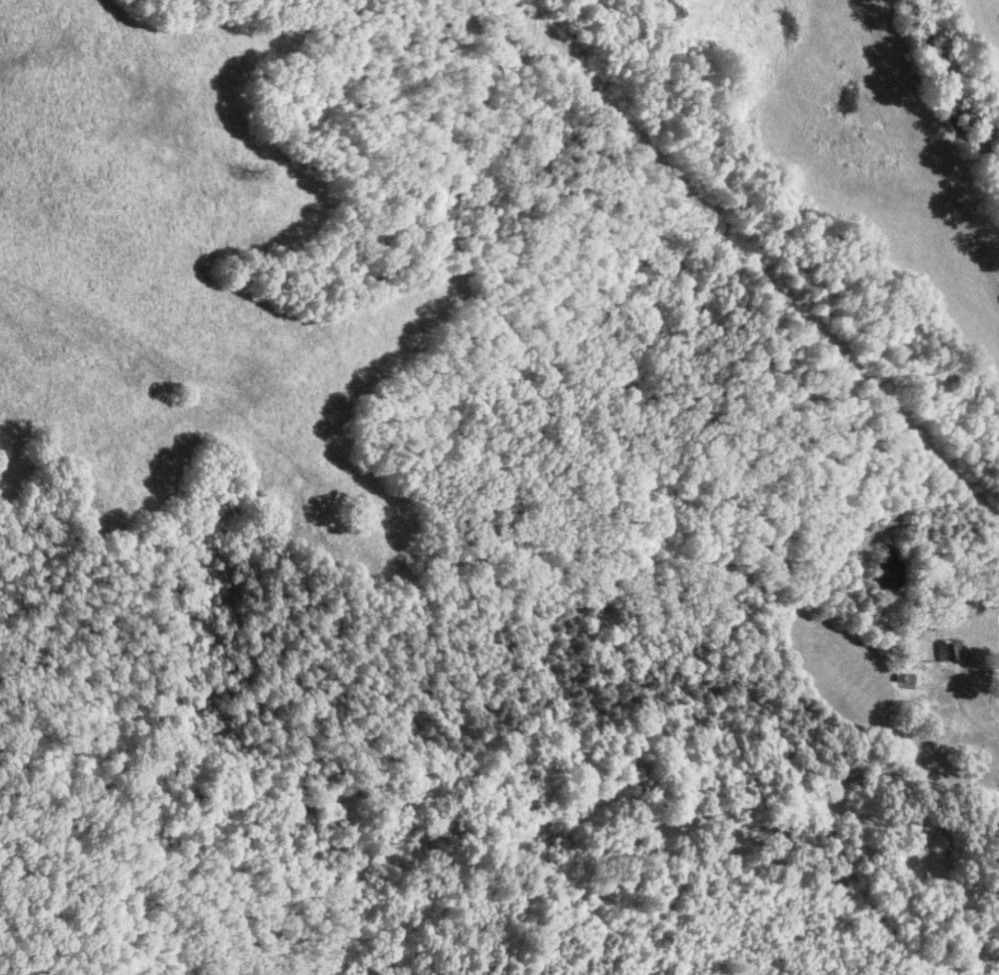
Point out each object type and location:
road: (974, 711)

